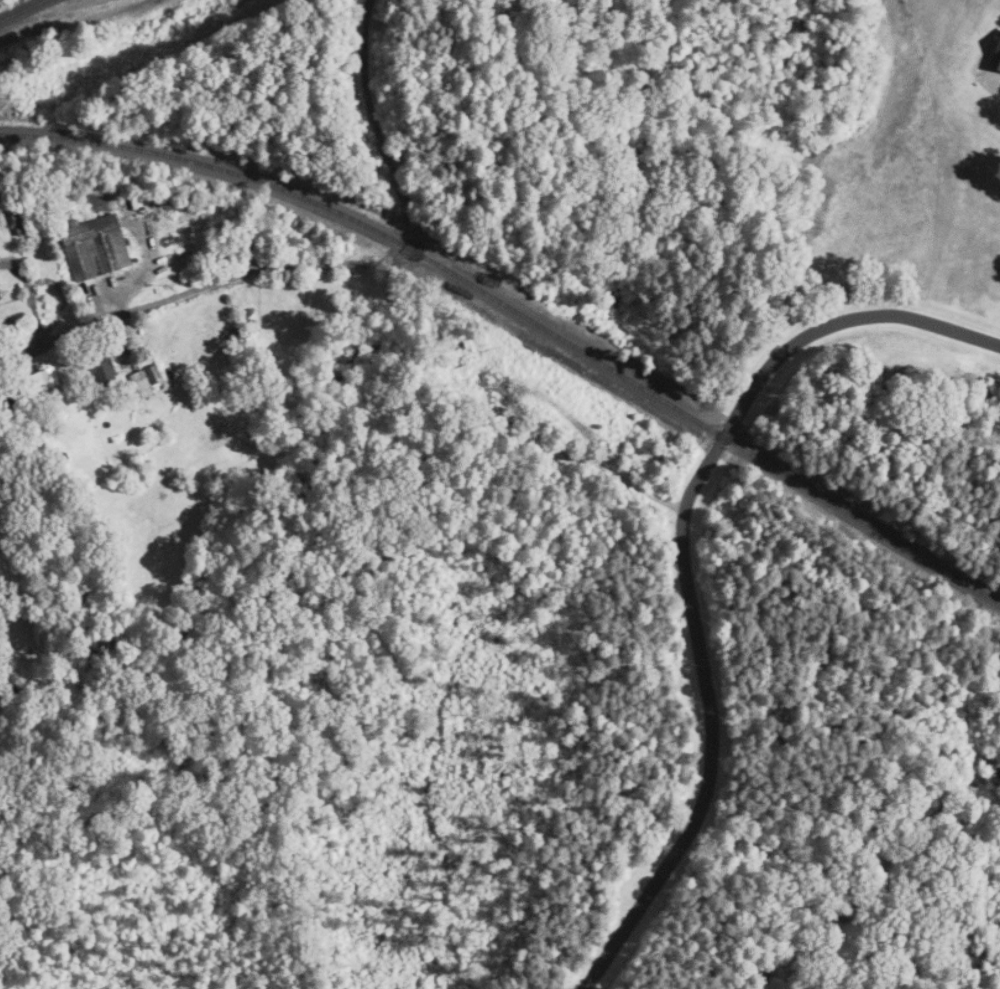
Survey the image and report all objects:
railway: (22, 10)
railway: (61, 17)
road: (991, 83)
building: (21, 219)
building: (96, 248)
road: (403, 252)
railway: (522, 313)
road: (835, 323)
road: (73, 334)
building: (102, 367)
building: (48, 378)
building: (147, 381)
road: (712, 727)

